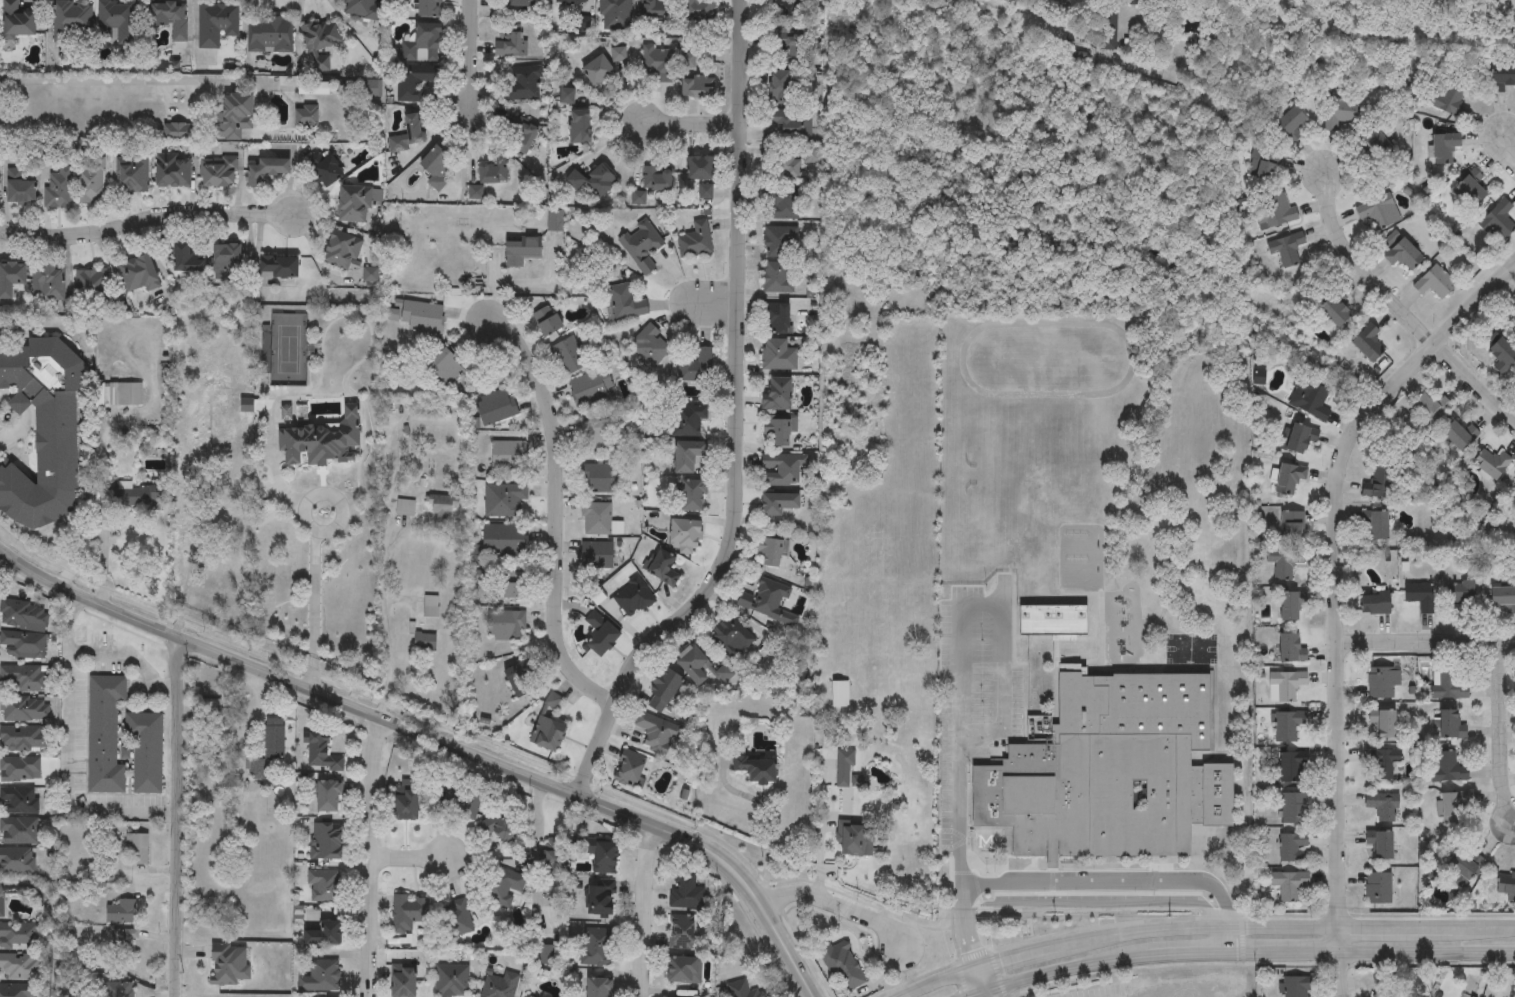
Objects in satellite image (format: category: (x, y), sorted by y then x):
building: (1143, 0)
building: (572, 2)
building: (524, 4)
building: (429, 8)
building: (364, 9)
building: (658, 11)
building: (615, 13)
building: (699, 13)
building: (790, 15)
building: (169, 19)
building: (18, 20)
building: (117, 21)
building: (72, 22)
building: (216, 24)
building: (1109, 28)
building: (269, 35)
building: (320, 36)
building: (509, 43)
building: (423, 45)
building: (792, 50)
road: (468, 54)
building: (689, 62)
building: (660, 63)
building: (319, 65)
building: (1501, 77)
building: (414, 80)
road: (104, 81)
building: (525, 85)
building: (784, 88)
building: (694, 89)
building: (1448, 102)
building: (1335, 114)
building: (306, 116)
building: (234, 117)
building: (1286, 125)
building: (792, 126)
building: (416, 128)
building: (581, 128)
road: (692, 128)
building: (177, 133)
building: (518, 135)
building: (1375, 145)
road: (1509, 148)
building: (1442, 149)
building: (325, 168)
building: (437, 168)
building: (702, 169)
building: (788, 169)
building: (268, 170)
building: (492, 170)
building: (218, 173)
building: (173, 174)
building: (132, 176)
building: (658, 179)
building: (91, 181)
building: (594, 181)
building: (58, 188)
building: (19, 189)
building: (1467, 190)
building: (354, 204)
building: (788, 207)
building: (1378, 212)
building: (1273, 213)
road: (147, 219)
building: (555, 221)
building: (1497, 221)
building: (695, 241)
building: (780, 242)
building: (642, 246)
building: (1285, 249)
building: (342, 251)
building: (521, 251)
building: (1400, 253)
building: (186, 259)
building: (226, 260)
road: (1358, 264)
building: (279, 268)
building: (139, 275)
building: (779, 278)
building: (11, 279)
building: (48, 283)
building: (1434, 283)
building: (91, 287)
building: (1513, 302)
building: (625, 303)
road: (719, 307)
building: (1331, 312)
building: (418, 317)
building: (777, 319)
building: (547, 321)
road: (57, 327)
building: (651, 344)
building: (1367, 344)
building: (1500, 354)
building: (778, 355)
building: (568, 357)
building: (447, 368)
building: (698, 368)
building: (591, 387)
road: (1475, 387)
building: (119, 395)
building: (779, 396)
building: (1307, 399)
building: (495, 407)
building: (1426, 413)
building: (688, 419)
road: (736, 420)
building: (42, 430)
building: (778, 432)
road: (1, 433)
building: (1458, 434)
building: (596, 437)
building: (1299, 441)
building: (321, 442)
building: (507, 455)
building: (689, 456)
building: (1491, 464)
building: (782, 469)
building: (599, 478)
building: (1289, 479)
building: (1376, 485)
building: (1513, 491)
building: (140, 496)
building: (693, 496)
building: (503, 500)
building: (778, 504)
building: (441, 507)
road: (558, 508)
road: (304, 518)
building: (596, 519)
building: (1292, 527)
building: (1376, 527)
building: (685, 536)
building: (503, 540)
road: (101, 542)
building: (770, 551)
building: (596, 555)
building: (1283, 563)
building: (664, 570)
building: (513, 587)
road: (101, 593)
road: (1338, 594)
building: (1459, 594)
building: (1420, 597)
building: (633, 598)
building: (1501, 600)
building: (766, 604)
building: (1374, 604)
building: (1289, 606)
road: (314, 607)
building: (429, 607)
building: (23, 615)
building: (506, 626)
building: (601, 635)
building: (731, 638)
road: (386, 642)
building: (423, 643)
road: (1426, 643)
building: (23, 645)
building: (1289, 651)
road: (130, 656)
building: (697, 667)
building: (27, 677)
building: (521, 680)
building: (1382, 683)
building: (1448, 686)
building: (1284, 687)
building: (665, 692)
building: (840, 695)
building: (24, 709)
building: (1381, 725)
building: (1288, 726)
building: (548, 727)
building: (1449, 727)
road: (1498, 732)
building: (104, 733)
building: (657, 734)
road: (438, 735)
building: (22, 738)
road: (978, 739)
building: (275, 740)
building: (145, 750)
road: (69, 752)
building: (319, 753)
building: (1381, 763)
building: (1290, 768)
building: (20, 769)
building: (1449, 769)
building: (630, 770)
building: (758, 770)
building: (846, 770)
building: (1111, 773)
building: (327, 795)
building: (19, 800)
building: (404, 803)
building: (1381, 808)
building: (1450, 808)
building: (1294, 809)
road: (178, 816)
building: (499, 826)
building: (18, 831)
building: (856, 839)
building: (325, 840)
building: (980, 844)
building: (1381, 847)
building: (137, 848)
building: (1292, 848)
road: (771, 849)
road: (371, 854)
road: (410, 858)
building: (603, 858)
building: (551, 859)
building: (17, 860)
building: (1461, 867)
building: (322, 885)
road: (1108, 885)
building: (500, 886)
building: (1287, 886)
building: (1504, 887)
building: (1377, 890)
building: (683, 893)
building: (599, 898)
road: (839, 902)
building: (1, 907)
road: (643, 908)
building: (121, 912)
building: (406, 912)
building: (458, 916)
road: (1207, 925)
building: (679, 932)
building: (322, 933)
building: (18, 935)
road: (967, 936)
road: (1232, 938)
building: (123, 943)
building: (594, 947)
road: (1240, 951)
building: (543, 954)
building: (229, 964)
building: (842, 964)
building: (19, 966)
building: (682, 969)
building: (319, 975)
road: (982, 979)
building: (401, 980)
building: (449, 980)
building: (497, 983)
building: (1296, 986)
building: (598, 987)
building: (118, 989)
building: (741, 989)
building: (16, 991)
building: (1384, 993)
road: (987, 994)
building: (526, 996)

